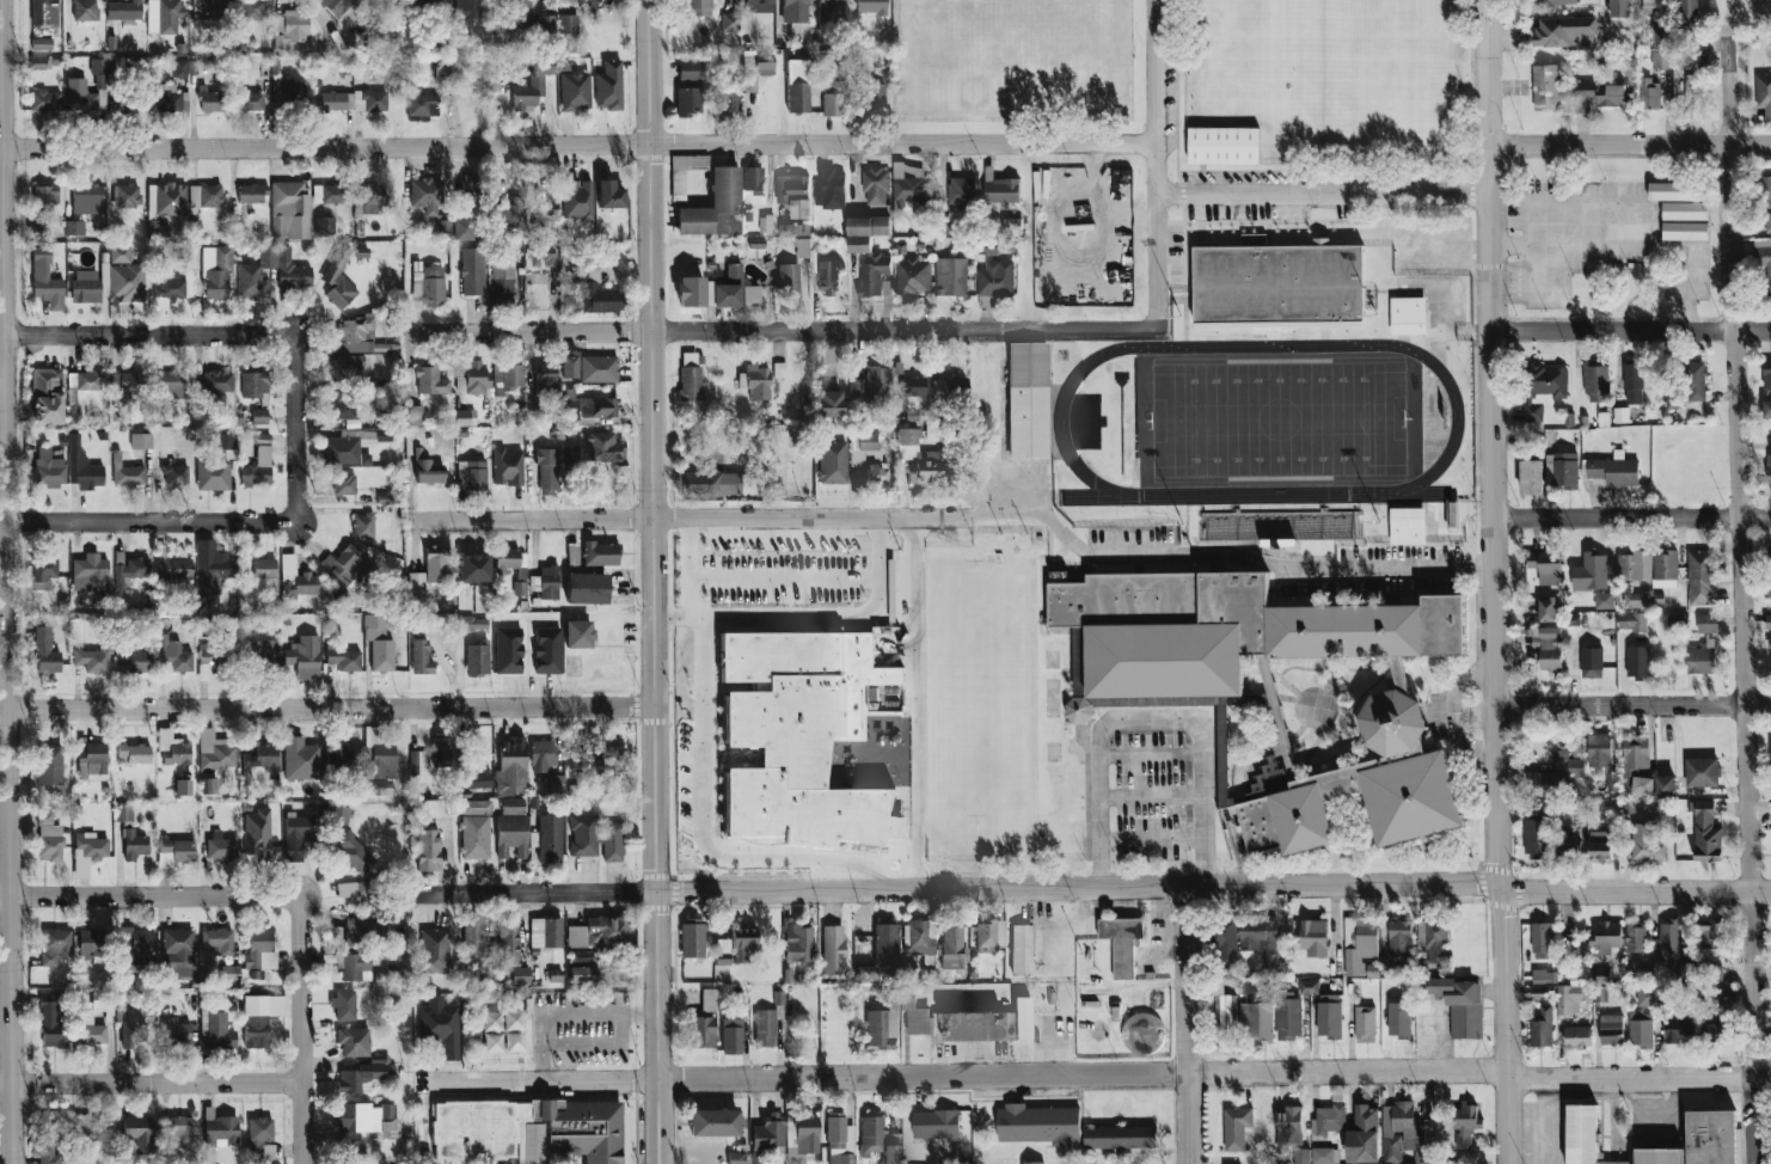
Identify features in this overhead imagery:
building: (1559, 1)
building: (1651, 2)
building: (336, 6)
building: (758, 6)
building: (870, 6)
building: (419, 7)
building: (698, 7)
building: (208, 8)
building: (466, 8)
building: (1617, 8)
building: (123, 10)
building: (250, 10)
building: (1687, 10)
building: (85, 11)
building: (829, 11)
building: (42, 12)
building: (519, 13)
road: (1723, 13)
building: (163, 16)
building: (796, 18)
building: (730, 22)
building: (545, 24)
building: (570, 24)
building: (290, 27)
building: (1563, 31)
building: (1660, 35)
building: (386, 37)
building: (42, 43)
building: (1660, 60)
building: (38, 63)
building: (543, 65)
building: (180, 68)
building: (690, 69)
building: (754, 71)
building: (98, 72)
building: (609, 85)
building: (797, 86)
building: (1546, 86)
building: (1585, 90)
building: (574, 91)
building: (292, 92)
building: (527, 92)
building: (1649, 93)
building: (1763, 93)
building: (1611, 94)
building: (80, 96)
building: (1689, 96)
building: (833, 99)
building: (872, 99)
building: (45, 100)
building: (210, 100)
building: (249, 100)
building: (332, 100)
building: (369, 100)
building: (168, 102)
building: (687, 102)
building: (728, 104)
building: (421, 105)
road: (576, 142)
building: (1224, 146)
road: (1629, 147)
road: (1153, 164)
building: (685, 172)
building: (753, 179)
building: (911, 183)
building: (875, 185)
building: (829, 188)
building: (472, 190)
building: (1001, 190)
building: (1671, 191)
building: (1764, 191)
building: (251, 194)
building: (330, 194)
building: (793, 194)
building: (961, 194)
building: (127, 195)
building: (206, 195)
building: (427, 195)
building: (609, 195)
road: (1320, 195)
building: (44, 198)
building: (87, 198)
building: (373, 198)
building: (577, 200)
building: (164, 207)
building: (715, 207)
building: (289, 209)
building: (1684, 210)
building: (509, 213)
building: (541, 215)
building: (1767, 222)
building: (324, 226)
building: (1011, 226)
building: (74, 227)
building: (443, 228)
building: (464, 229)
building: (795, 229)
building: (1626, 231)
building: (1684, 231)
building: (865, 232)
building: (803, 247)
road: (1631, 247)
building: (120, 255)
building: (541, 255)
building: (1766, 270)
building: (292, 271)
building: (472, 271)
building: (216, 272)
building: (256, 274)
building: (875, 274)
building: (950, 276)
building: (913, 277)
building: (104, 278)
building: (828, 278)
building: (995, 278)
building: (45, 280)
building: (788, 281)
building: (125, 282)
building: (338, 282)
building: (1279, 283)
building: (502, 284)
building: (85, 286)
building: (431, 286)
building: (176, 287)
building: (729, 288)
building: (594, 290)
building: (691, 292)
building: (750, 295)
building: (1408, 315)
road: (780, 330)
road: (1631, 332)
road: (147, 333)
building: (355, 335)
building: (569, 366)
building: (587, 368)
building: (345, 369)
building: (778, 369)
building: (508, 374)
building: (1766, 374)
building: (477, 376)
building: (690, 376)
building: (545, 379)
building: (88, 380)
building: (1595, 380)
building: (1693, 380)
building: (430, 381)
building: (755, 381)
building: (1634, 381)
building: (128, 382)
building: (217, 382)
building: (171, 385)
building: (460, 385)
building: (255, 386)
building: (877, 386)
building: (913, 386)
building: (857, 387)
building: (948, 390)
building: (1543, 390)
building: (583, 393)
building: (47, 396)
building: (1027, 400)
building: (1671, 402)
building: (577, 404)
building: (828, 404)
building: (343, 406)
building: (1766, 409)
building: (74, 412)
building: (413, 415)
building: (259, 416)
building: (465, 417)
park: (1262, 418)
building: (1620, 418)
stadium: (1276, 423)
track: (1451, 424)
road: (294, 427)
building: (141, 441)
building: (225, 441)
building: (606, 447)
building: (344, 449)
building: (574, 458)
building: (869, 458)
building: (919, 460)
building: (832, 462)
building: (82, 465)
building: (508, 467)
building: (49, 468)
building: (257, 468)
building: (547, 470)
building: (1562, 470)
building: (1614, 470)
building: (1769, 470)
building: (429, 471)
building: (127, 472)
building: (176, 474)
building: (213, 474)
building: (471, 474)
building: (1531, 477)
building: (343, 483)
building: (707, 483)
building: (1453, 514)
road: (1632, 517)
road: (682, 520)
road: (147, 521)
building: (363, 526)
building: (1279, 526)
building: (1407, 526)
building: (588, 552)
building: (572, 555)
road: (1219, 564)
building: (348, 565)
building: (439, 565)
building: (1545, 565)
building: (1635, 565)
building: (511, 566)
building: (264, 568)
building: (173, 569)
building: (474, 569)
building: (1665, 569)
building: (44, 570)
building: (130, 571)
building: (92, 572)
building: (1591, 572)
building: (214, 574)
building: (1700, 577)
building: (296, 578)
road: (652, 581)
road: (5, 582)
building: (547, 582)
road: (1495, 582)
building: (1769, 587)
building: (580, 588)
building: (416, 592)
road: (1740, 595)
building: (1604, 600)
building: (1637, 600)
road: (831, 617)
building: (1546, 617)
road: (676, 618)
building: (1631, 621)
building: (1678, 621)
building: (1767, 621)
building: (1706, 623)
building: (472, 624)
building: (577, 635)
building: (1548, 647)
building: (1770, 649)
building: (508, 650)
building: (547, 650)
building: (45, 651)
building: (381, 655)
building: (174, 656)
building: (306, 657)
building: (421, 657)
building: (477, 657)
building: (93, 658)
building: (343, 658)
building: (1700, 658)
building: (1638, 661)
building: (133, 662)
building: (1592, 662)
building: (210, 663)
building: (1273, 688)
road: (917, 703)
road: (1634, 705)
road: (326, 710)
road: (1150, 717)
building: (799, 739)
building: (600, 747)
building: (172, 749)
building: (440, 749)
building: (1599, 751)
building: (1770, 751)
building: (215, 752)
building: (133, 753)
building: (1635, 754)
building: (541, 755)
building: (343, 756)
building: (301, 759)
building: (92, 760)
building: (261, 760)
building: (1565, 762)
building: (379, 764)
building: (49, 765)
building: (511, 768)
building: (1702, 772)
road: (699, 778)
building: (553, 783)
building: (1548, 784)
building: (209, 785)
building: (1642, 785)
building: (183, 786)
building: (1665, 786)
building: (511, 805)
building: (476, 807)
building: (123, 814)
building: (341, 814)
building: (257, 831)
building: (1536, 833)
building: (1705, 833)
building: (511, 835)
building: (582, 837)
building: (49, 838)
building: (474, 838)
building: (550, 838)
building: (612, 841)
building: (1647, 843)
building: (134, 845)
building: (1599, 845)
building: (221, 847)
building: (1565, 849)
building: (428, 850)
building: (176, 851)
building: (87, 852)
building: (354, 852)
road: (1092, 888)
building: (359, 892)
road: (149, 894)
building: (363, 932)
building: (545, 932)
building: (600, 932)
building: (1258, 933)
building: (473, 936)
building: (989, 936)
building: (1635, 936)
building: (1313, 937)
building: (1607, 937)
building: (692, 938)
building: (1399, 938)
building: (219, 939)
building: (919, 939)
building: (1669, 939)
building: (1226, 941)
building: (1433, 941)
building: (1542, 941)
building: (508, 942)
building: (797, 942)
building: (1122, 943)
building: (1359, 943)
building: (739, 944)
building: (885, 944)
building: (55, 945)
building: (92, 945)
building: (951, 945)
building: (135, 948)
building: (261, 948)
building: (1022, 949)
building: (434, 950)
building: (832, 950)
building: (179, 952)
building: (355, 967)
building: (582, 969)
building: (865, 973)
building: (1686, 973)
building: (1712, 974)
building: (520, 975)
building: (1543, 976)
building: (1309, 986)
building: (1600, 991)
building: (1648, 997)
building: (1570, 998)
building: (709, 1000)
building: (1718, 1000)
building: (343, 1005)
building: (1460, 1005)
road: (549, 1015)
road: (641, 1015)
building: (1226, 1015)
building: (1329, 1016)
building: (261, 1018)
building: (1289, 1018)
building: (1256, 1021)
building: (1398, 1021)
building: (50, 1022)
building: (956, 1023)
building: (1365, 1024)
road: (1185, 1025)
road: (300, 1028)
building: (441, 1028)
building: (765, 1028)
building: (882, 1028)
building: (1542, 1028)
building: (1640, 1029)
building: (1679, 1029)
building: (90, 1030)
building: (134, 1030)
building: (1611, 1030)
building: (220, 1031)
building: (1715, 1031)
building: (174, 1033)
building: (701, 1033)
building: (1141, 1034)
building: (731, 1036)
building: (1577, 1036)
building: (354, 1042)
road: (598, 1044)
building: (363, 1076)
road: (1093, 1082)
road: (151, 1083)
building: (366, 1117)
building: (1330, 1119)
building: (713, 1122)
road: (1542, 1122)
building: (936, 1123)
building: (1038, 1125)
building: (1465, 1125)
building: (1581, 1126)
building: (1236, 1127)
building: (97, 1128)
building: (176, 1128)
building: (221, 1128)
building: (261, 1128)
building: (139, 1131)
building: (528, 1131)
building: (768, 1134)
building: (1292, 1134)
building: (1405, 1134)
building: (53, 1135)
building: (1364, 1135)
building: (1120, 1137)
building: (1710, 1137)
building: (839, 1140)
building: (878, 1140)
building: (264, 1148)
building: (1324, 1156)
building: (736, 1159)
building: (1031, 1163)

